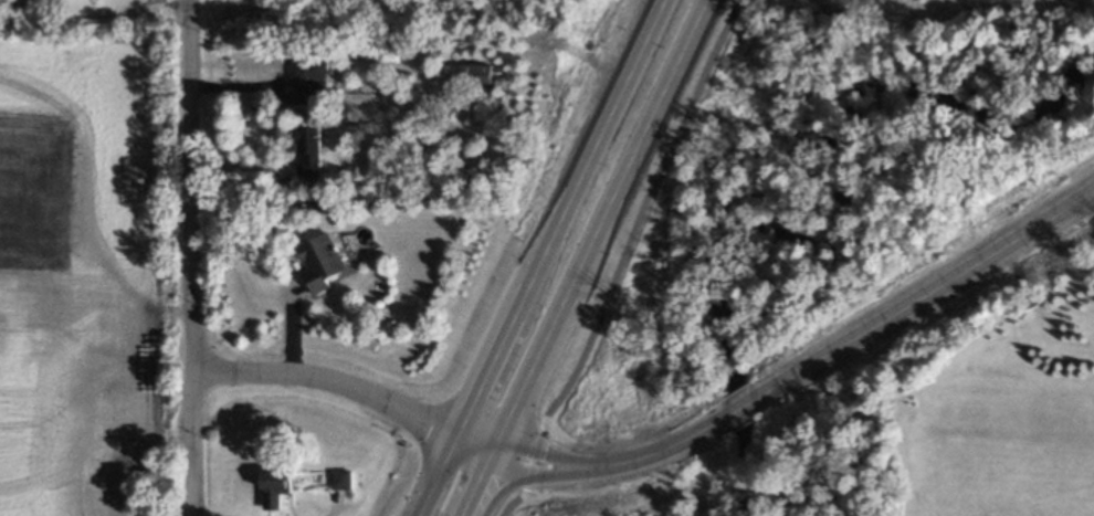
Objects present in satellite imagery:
building: (466, 67)
building: (301, 69)
building: (303, 147)
building: (277, 180)
building: (313, 207)
road: (637, 213)
road: (561, 218)
road: (604, 219)
road: (187, 257)
building: (315, 261)
road: (924, 293)
road: (325, 379)
road: (737, 407)
road: (683, 436)
road: (497, 452)
road: (548, 454)
road: (532, 457)
road: (433, 474)
road: (544, 475)
building: (337, 480)
building: (271, 486)
road: (477, 491)
road: (512, 502)

